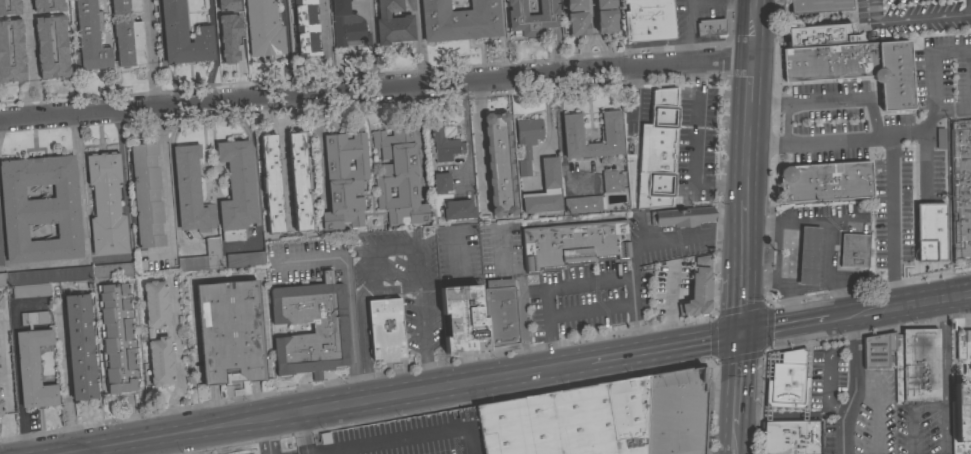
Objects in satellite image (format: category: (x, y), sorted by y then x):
building: (604, 4)
road: (754, 4)
building: (225, 5)
building: (575, 5)
building: (125, 6)
building: (818, 6)
building: (531, 18)
building: (459, 20)
building: (648, 20)
road: (910, 20)
building: (606, 21)
building: (393, 23)
building: (577, 23)
building: (348, 26)
building: (710, 27)
building: (306, 28)
building: (263, 29)
road: (688, 33)
building: (128, 34)
road: (753, 34)
building: (819, 35)
building: (183, 36)
building: (50, 38)
road: (503, 40)
building: (12, 41)
road: (27, 43)
road: (421, 44)
road: (373, 45)
building: (232, 47)
road: (325, 47)
road: (934, 51)
road: (214, 53)
road: (151, 54)
road: (162, 55)
building: (856, 68)
road: (685, 76)
road: (751, 84)
road: (31, 87)
road: (375, 91)
road: (871, 106)
road: (952, 110)
road: (545, 112)
road: (904, 115)
road: (750, 120)
road: (784, 123)
building: (610, 133)
building: (527, 142)
building: (444, 146)
road: (749, 146)
road: (880, 147)
road: (695, 148)
building: (658, 152)
road: (121, 155)
building: (499, 164)
road: (171, 173)
building: (398, 177)
road: (749, 179)
building: (344, 180)
building: (298, 181)
building: (611, 181)
building: (825, 181)
building: (441, 182)
building: (271, 184)
road: (80, 188)
building: (961, 189)
building: (236, 190)
building: (544, 190)
building: (190, 191)
building: (146, 196)
building: (584, 203)
building: (106, 205)
building: (40, 209)
building: (458, 210)
road: (883, 213)
building: (681, 216)
road: (792, 222)
road: (940, 222)
building: (918, 231)
road: (746, 235)
road: (674, 237)
road: (2, 242)
building: (573, 243)
gas station: (818, 246)
building: (851, 251)
road: (826, 253)
building: (1, 254)
building: (808, 255)
building: (202, 257)
road: (414, 258)
building: (244, 259)
road: (311, 259)
road: (45, 264)
road: (2, 268)
building: (59, 277)
road: (586, 284)
building: (698, 288)
road: (790, 292)
road: (837, 296)
road: (956, 297)
building: (1, 302)
road: (745, 304)
building: (156, 305)
road: (891, 308)
road: (590, 311)
building: (500, 315)
building: (33, 318)
road: (835, 318)
building: (463, 319)
road: (522, 320)
building: (328, 326)
road: (783, 327)
building: (386, 330)
building: (229, 332)
road: (351, 333)
traffic signals: (738, 335)
building: (117, 339)
road: (685, 344)
road: (363, 345)
building: (79, 346)
building: (877, 349)
building: (964, 350)
building: (160, 361)
road: (177, 361)
road: (14, 362)
building: (916, 365)
road: (745, 367)
building: (33, 369)
road: (830, 374)
road: (426, 375)
road: (944, 376)
road: (63, 377)
building: (787, 380)
road: (853, 385)
road: (725, 393)
road: (464, 397)
road: (235, 399)
road: (348, 403)
building: (0, 407)
road: (743, 413)
building: (634, 414)
road: (878, 415)
road: (910, 415)
building: (961, 419)
building: (517, 426)
road: (301, 433)
road: (268, 436)
building: (789, 437)
road: (742, 440)
road: (395, 441)
road: (470, 441)
road: (97, 451)

